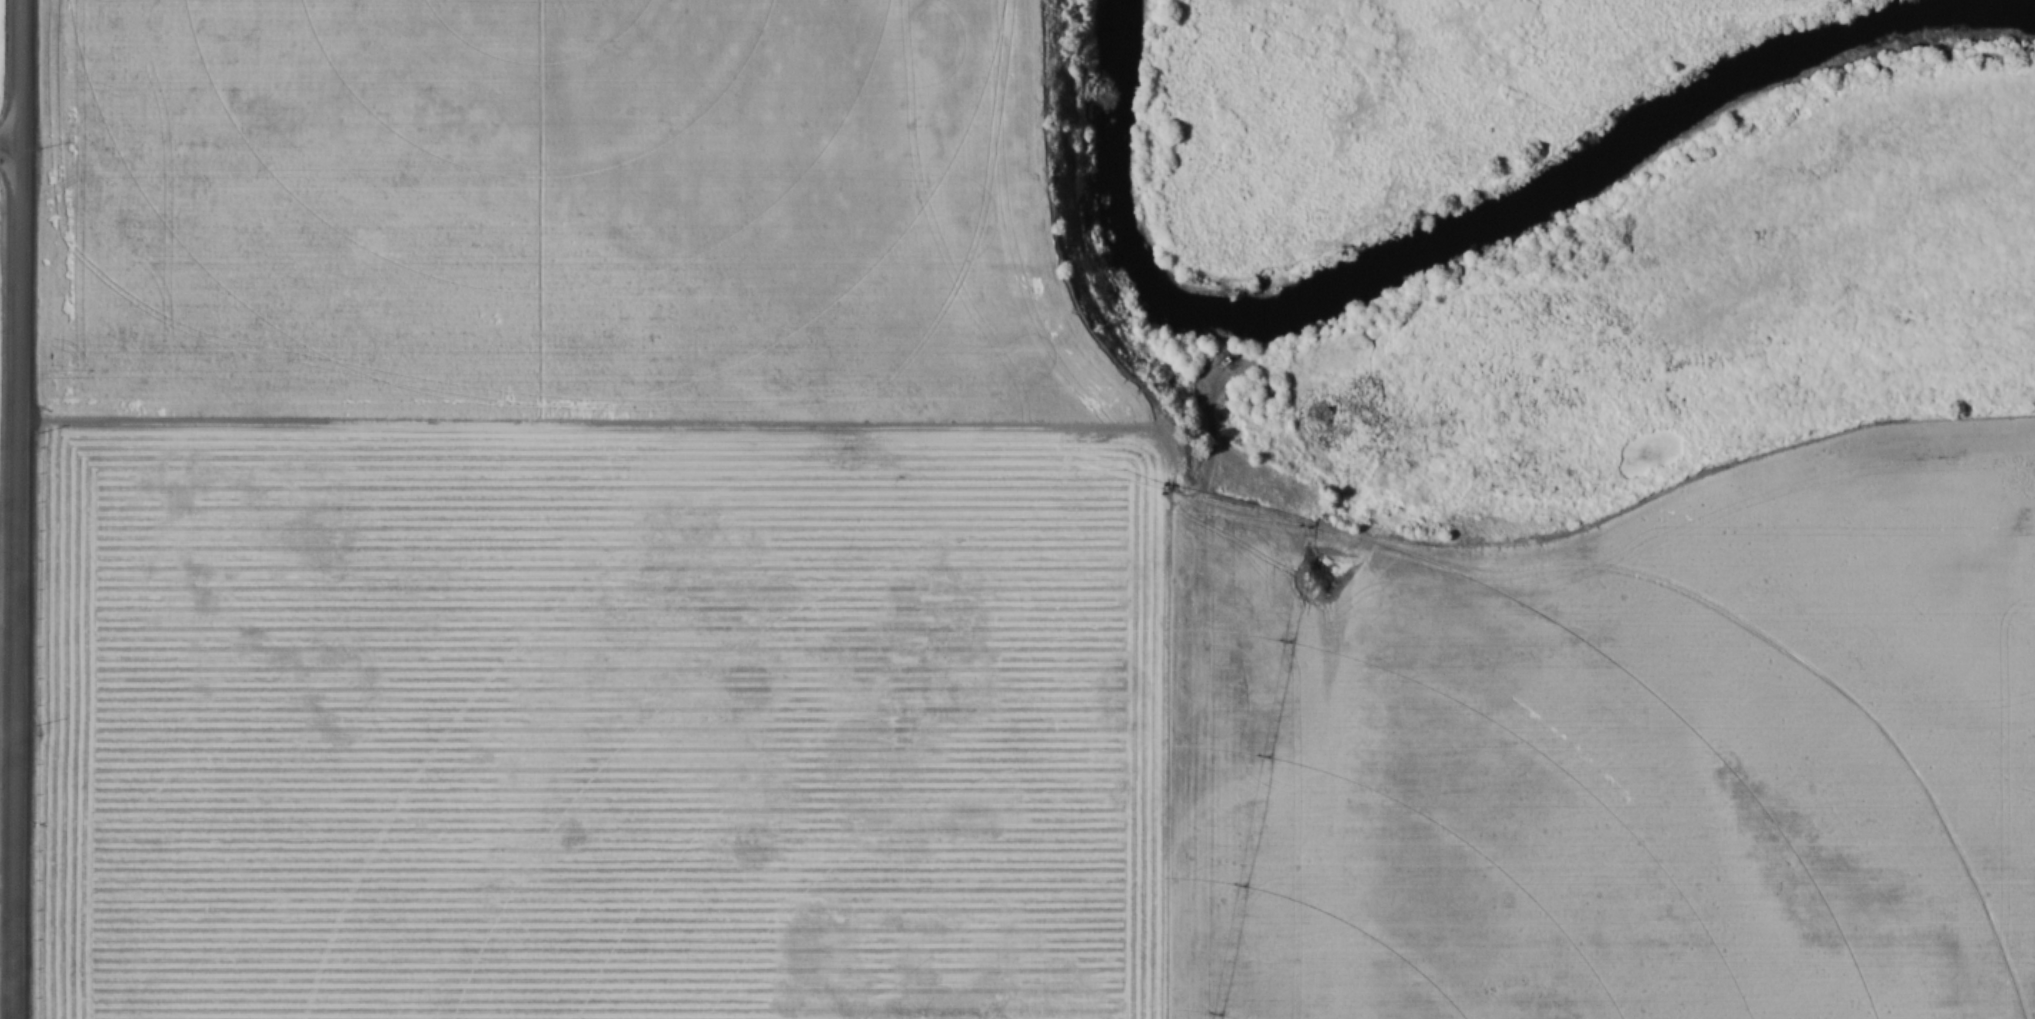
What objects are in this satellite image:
river: (1456, 237)

